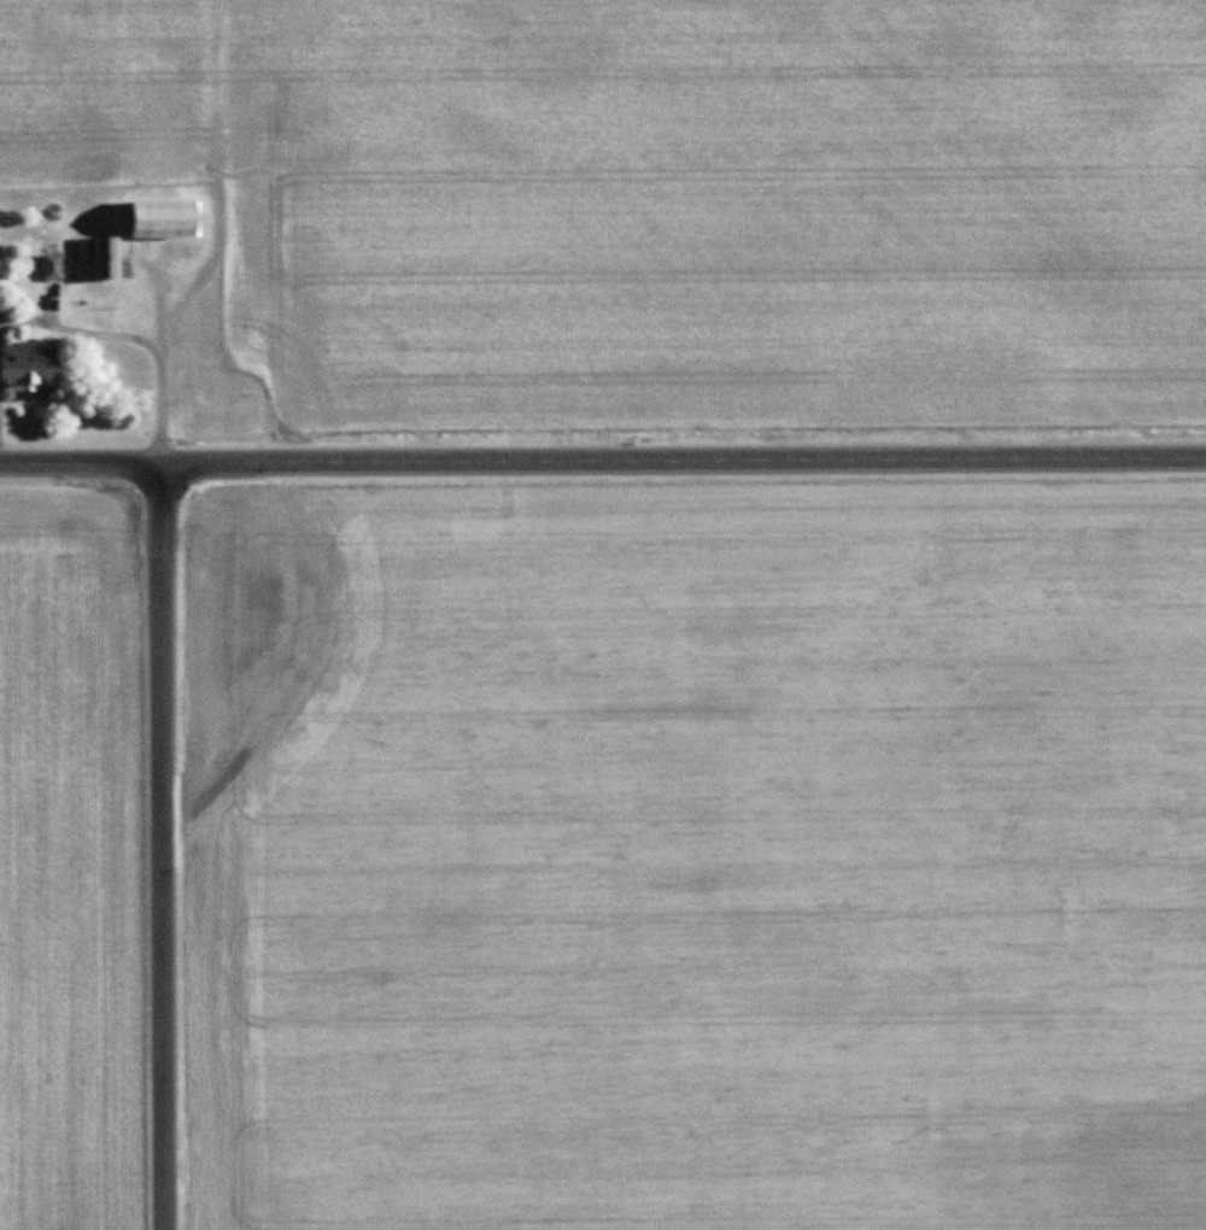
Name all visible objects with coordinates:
building: (165, 219)
building: (106, 258)
building: (52, 269)
road: (133, 339)
building: (29, 367)
road: (602, 461)
road: (160, 847)

